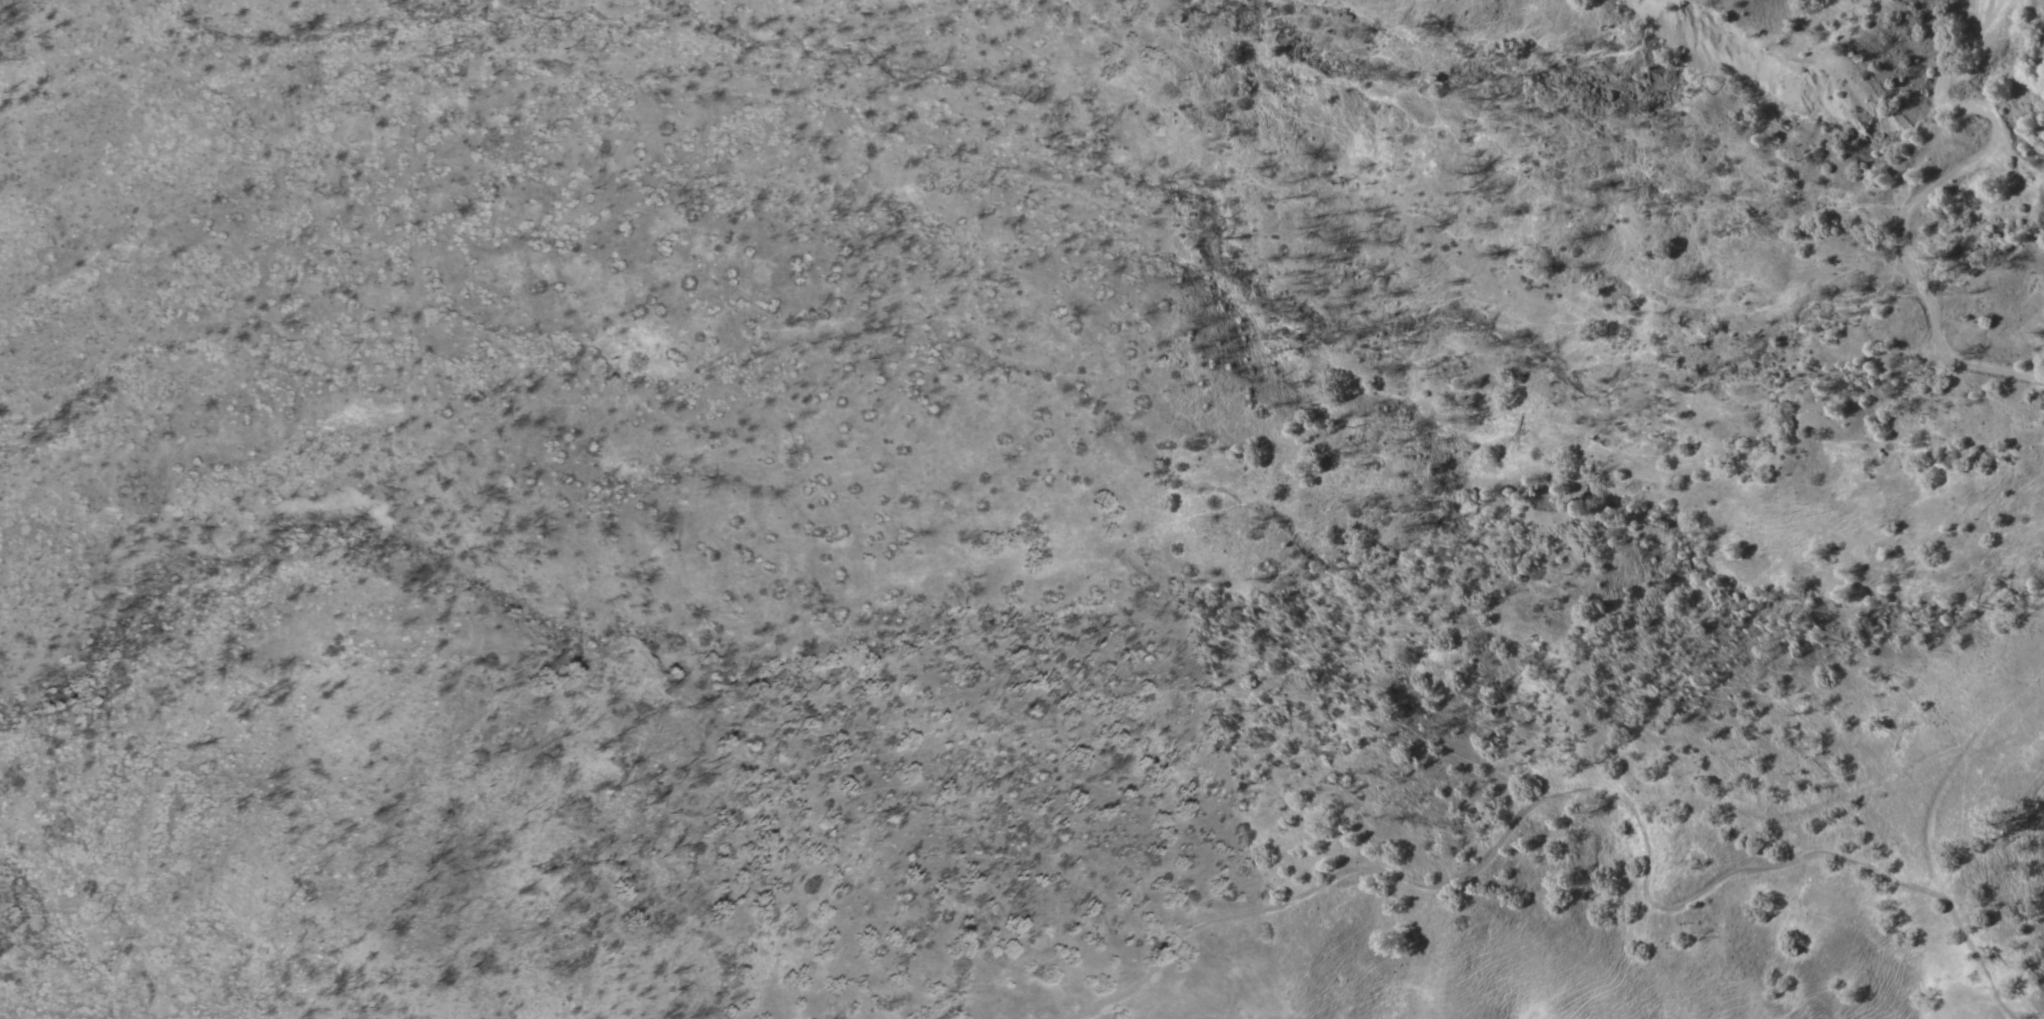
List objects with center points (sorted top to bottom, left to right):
road: (1929, 190)

